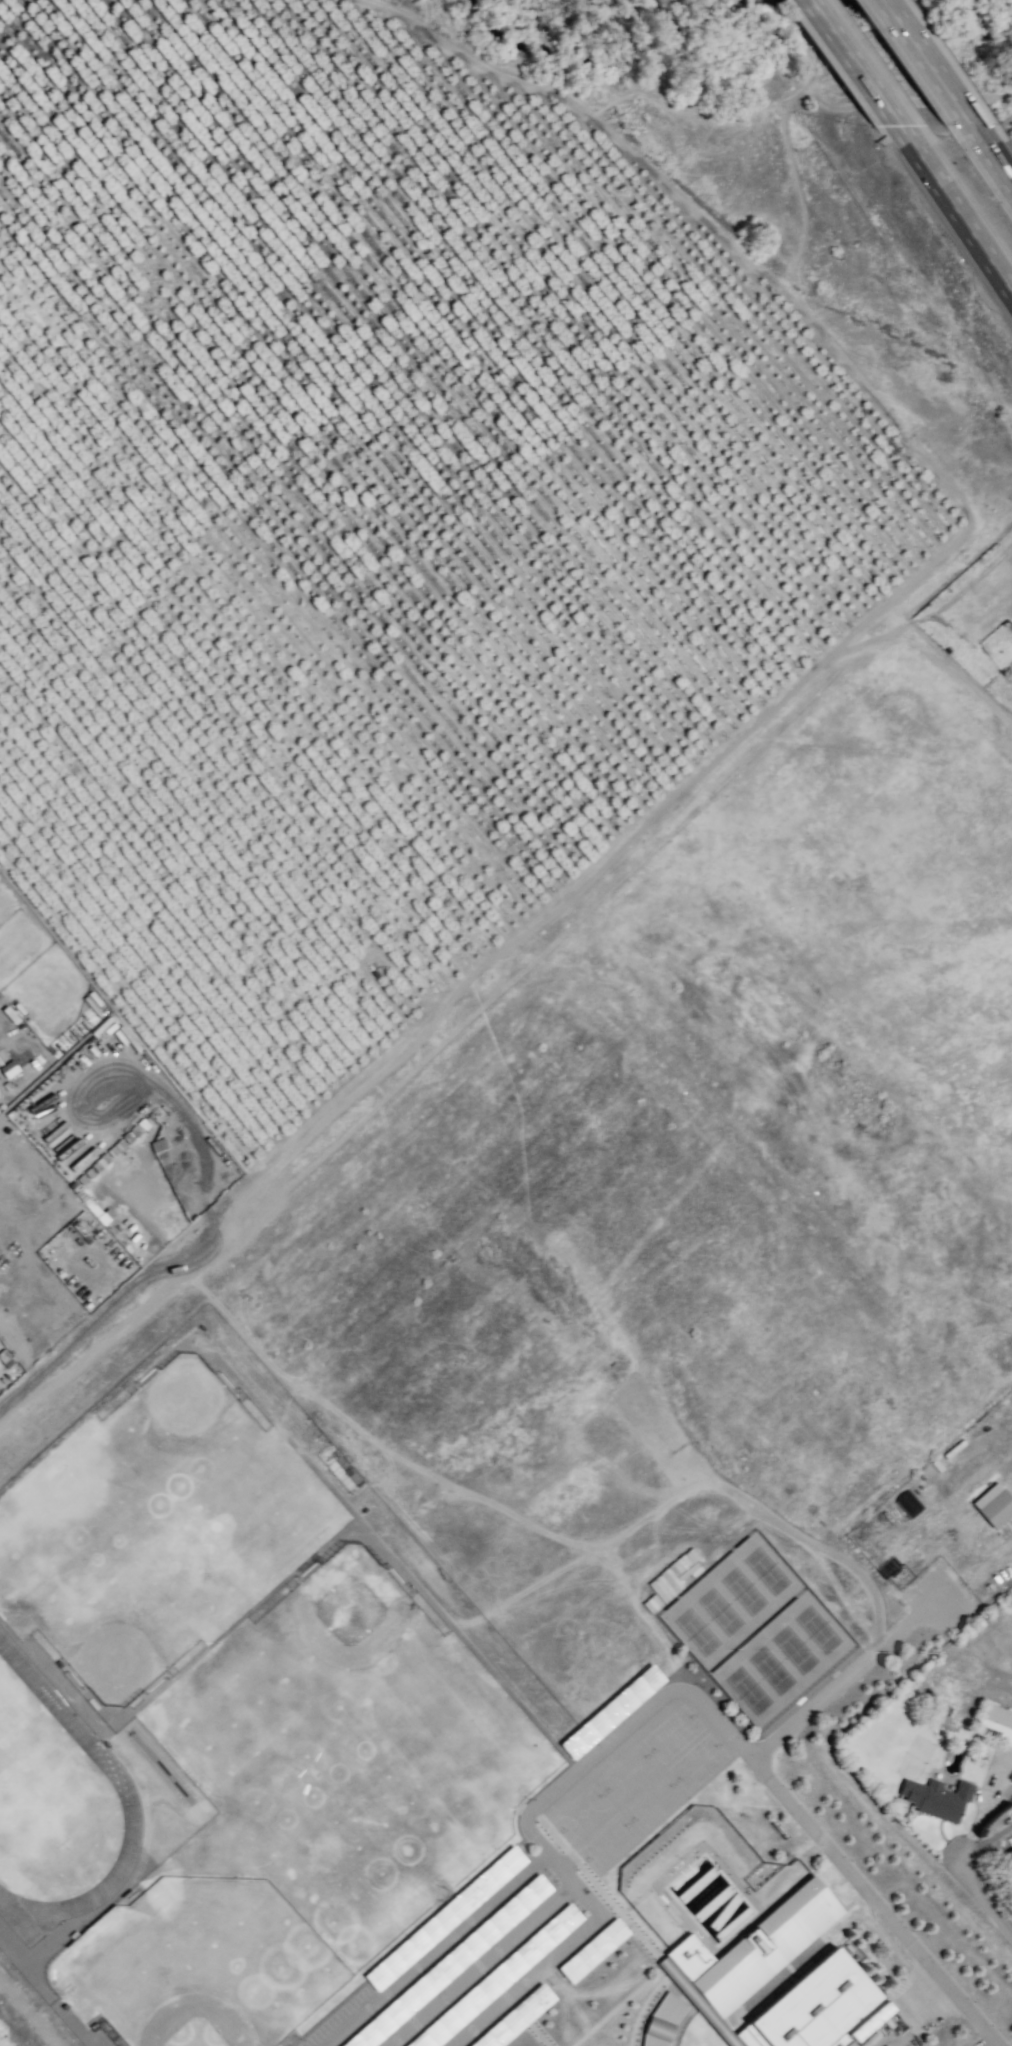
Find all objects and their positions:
crop: (490, 57)
road: (927, 62)
road: (854, 63)
road: (666, 110)
road: (990, 157)
road: (956, 211)
building: (60, 958)
building: (91, 1005)
road: (481, 1006)
building: (18, 1008)
building: (10, 1015)
building: (59, 1043)
building: (8, 1069)
building: (7, 1086)
road: (16, 1350)
building: (2, 1356)
building: (3, 1378)
road: (17, 1390)
park: (180, 1434)
building: (906, 1505)
building: (989, 1508)
road: (379, 1552)
building: (671, 1577)
building: (650, 1603)
park: (117, 1610)
road: (224, 1631)
park: (754, 1631)
park: (345, 1675)
road: (843, 1676)
road: (64, 1687)
building: (611, 1711)
building: (994, 1724)
park: (673, 1734)
park: (698, 1762)
road: (758, 1768)
park: (627, 1775)
track: (123, 1789)
park: (35, 1797)
road: (528, 1797)
building: (936, 1798)
park: (654, 1801)
road: (534, 1813)
park: (583, 1813)
road: (985, 1841)
park: (608, 1842)
road: (532, 1855)
building: (1007, 1861)
road: (540, 1865)
road: (138, 1870)
road: (814, 1881)
road: (980, 1899)
building: (444, 1919)
road: (632, 1932)
road: (402, 1940)
building: (592, 1950)
building: (750, 1950)
road: (786, 1958)
parking lot: (469, 1959)
building: (448, 1964)
road: (479, 1966)
park: (194, 1968)
building: (496, 1978)
road: (44, 1993)
road: (643, 2007)
building: (804, 2007)
road: (617, 2008)
road: (27, 2013)
building: (514, 2018)
building: (658, 2021)
building: (870, 2021)
road: (678, 2024)
road: (530, 2029)
building: (869, 2039)
building: (842, 2044)

